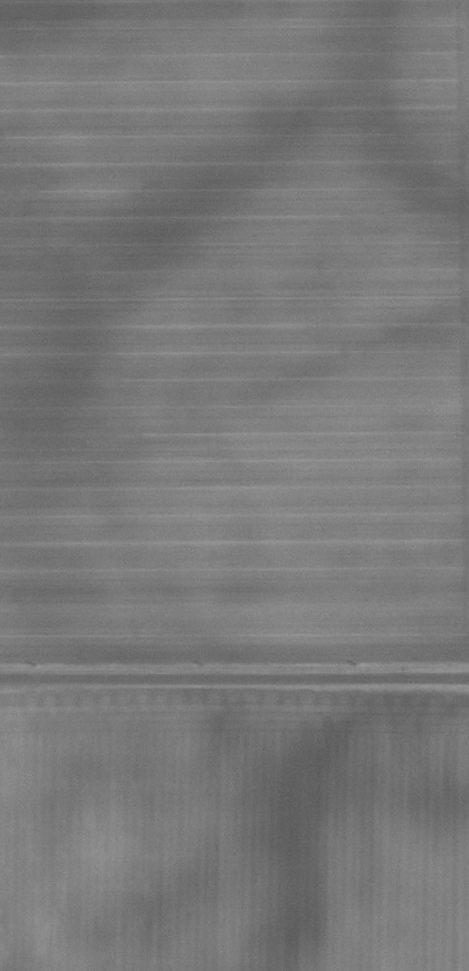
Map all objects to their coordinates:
road: (234, 675)

